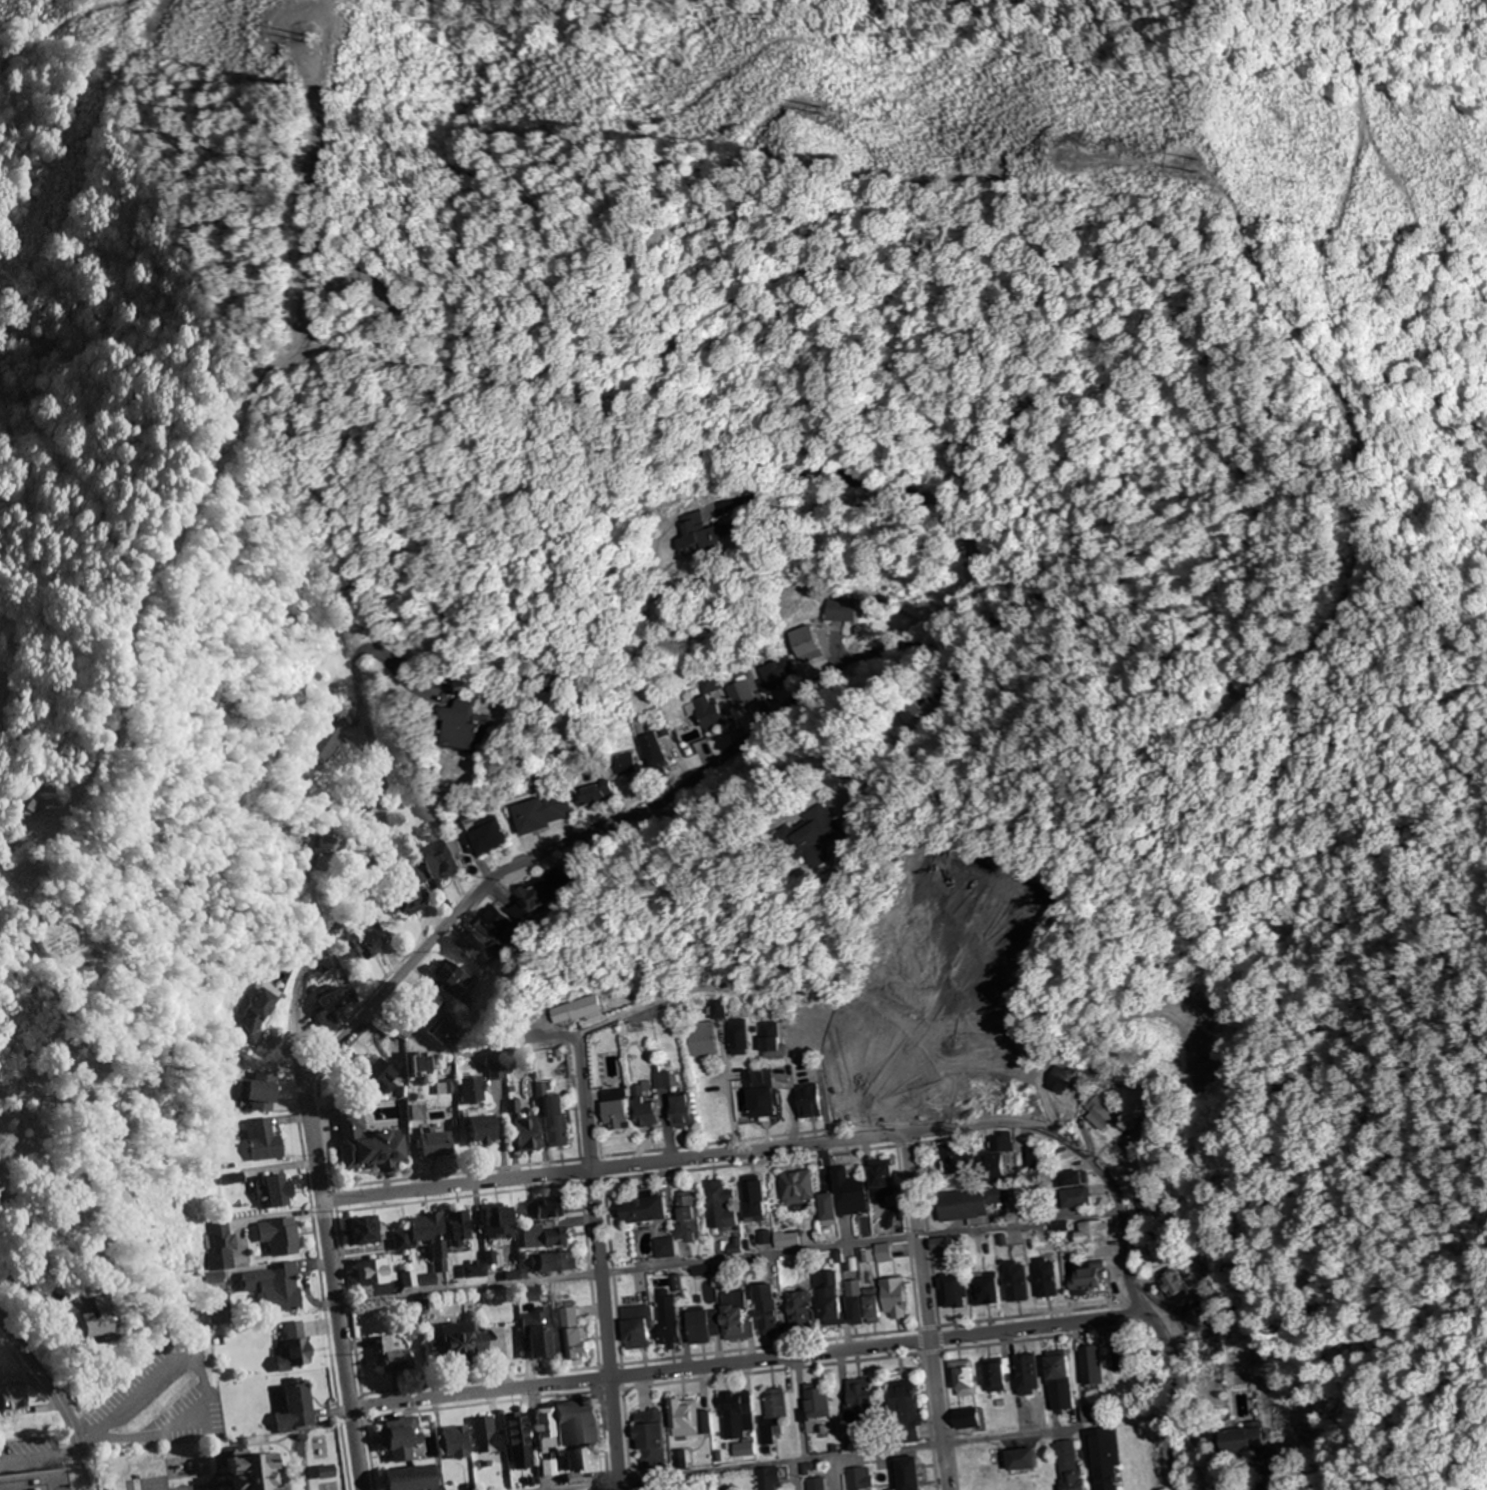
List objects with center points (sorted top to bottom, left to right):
road: (632, 355)
building: (30, 358)
road: (834, 540)
building: (711, 541)
road: (977, 600)
building: (840, 612)
building: (809, 648)
building: (776, 674)
building: (728, 690)
building: (711, 716)
building: (469, 728)
building: (689, 734)
building: (657, 751)
building: (627, 766)
building: (596, 794)
building: (543, 813)
building: (829, 831)
building: (483, 836)
building: (327, 855)
building: (440, 861)
road: (372, 869)
building: (542, 893)
building: (412, 904)
road: (454, 917)
building: (499, 921)
building: (60, 942)
building: (372, 946)
building: (472, 946)
building: (455, 981)
road: (706, 987)
building: (338, 999)
building: (716, 1010)
building: (577, 1011)
building: (1206, 1021)
building: (443, 1031)
building: (736, 1038)
building: (769, 1038)
building: (701, 1040)
building: (800, 1040)
road: (470, 1052)
building: (951, 1060)
building: (1209, 1065)
building: (656, 1078)
building: (473, 1090)
building: (760, 1095)
building: (837, 1099)
building: (884, 1101)
building: (264, 1102)
building: (808, 1102)
building: (616, 1111)
building: (645, 1111)
building: (682, 1112)
building: (1102, 1114)
road: (574, 1116)
building: (558, 1122)
building: (486, 1130)
building: (530, 1135)
building: (1143, 1135)
road: (758, 1137)
building: (266, 1138)
road: (597, 1140)
road: (812, 1141)
road: (902, 1143)
building: (437, 1145)
building: (371, 1146)
road: (588, 1156)
building: (950, 1159)
building: (1038, 1160)
building: (993, 1161)
road: (745, 1162)
road: (332, 1169)
road: (455, 1171)
building: (234, 1176)
road: (590, 1180)
building: (1078, 1180)
road: (456, 1184)
building: (880, 1185)
building: (279, 1188)
building: (794, 1188)
road: (460, 1196)
road: (336, 1197)
building: (840, 1198)
building: (752, 1201)
building: (968, 1204)
building: (1144, 1204)
building: (718, 1207)
building: (548, 1209)
building: (647, 1212)
building: (686, 1219)
building: (502, 1221)
road: (1017, 1222)
building: (461, 1229)
building: (364, 1232)
building: (1094, 1233)
building: (282, 1234)
road: (923, 1234)
road: (904, 1236)
building: (545, 1238)
building: (400, 1240)
building: (432, 1241)
building: (221, 1244)
building: (945, 1248)
road: (755, 1252)
building: (1156, 1253)
building: (555, 1264)
road: (597, 1264)
road: (610, 1271)
building: (476, 1272)
building: (376, 1273)
road: (587, 1273)
building: (1088, 1276)
building: (1046, 1279)
building: (1012, 1283)
building: (279, 1285)
building: (1173, 1285)
road: (469, 1286)
building: (948, 1293)
building: (984, 1293)
road: (1132, 1294)
building: (893, 1300)
road: (351, 1301)
road: (328, 1305)
building: (861, 1305)
building: (831, 1306)
road: (922, 1311)
building: (765, 1312)
building: (797, 1313)
road: (1028, 1313)
building: (734, 1317)
building: (105, 1319)
building: (666, 1319)
building: (1196, 1321)
road: (924, 1325)
building: (700, 1327)
building: (637, 1329)
road: (1040, 1336)
building: (572, 1337)
road: (936, 1337)
road: (915, 1339)
building: (542, 1342)
building: (297, 1345)
building: (499, 1345)
road: (765, 1345)
building: (462, 1347)
road: (927, 1350)
building: (395, 1356)
road: (749, 1359)
building: (1125, 1359)
road: (606, 1364)
building: (1091, 1367)
road: (768, 1369)
building: (1058, 1371)
road: (619, 1375)
road: (596, 1376)
building: (1025, 1376)
building: (990, 1377)
road: (482, 1378)
building: (960, 1380)
road: (608, 1388)
building: (18, 1394)
road: (59, 1394)
building: (902, 1401)
road: (481, 1402)
building: (814, 1402)
road: (367, 1405)
building: (861, 1405)
building: (300, 1406)
building: (1092, 1415)
building: (735, 1416)
building: (683, 1417)
building: (771, 1417)
road: (924, 1417)
road: (945, 1417)
building: (968, 1420)
building: (582, 1425)
building: (522, 1434)
road: (623, 1435)
building: (490, 1436)
road: (602, 1436)
building: (651, 1439)
building: (404, 1440)
building: (1249, 1442)
building: (550, 1443)
building: (460, 1444)
road: (372, 1451)
building: (1100, 1455)
road: (820, 1456)
building: (1020, 1457)
building: (582, 1462)
building: (1067, 1465)
building: (806, 1466)
road: (94, 1468)
building: (329, 1470)
building: (257, 1472)
building: (906, 1473)
building: (769, 1477)
building: (859, 1477)
building: (416, 1479)
building: (38, 1480)
building: (816, 1483)
building: (586, 1489)

